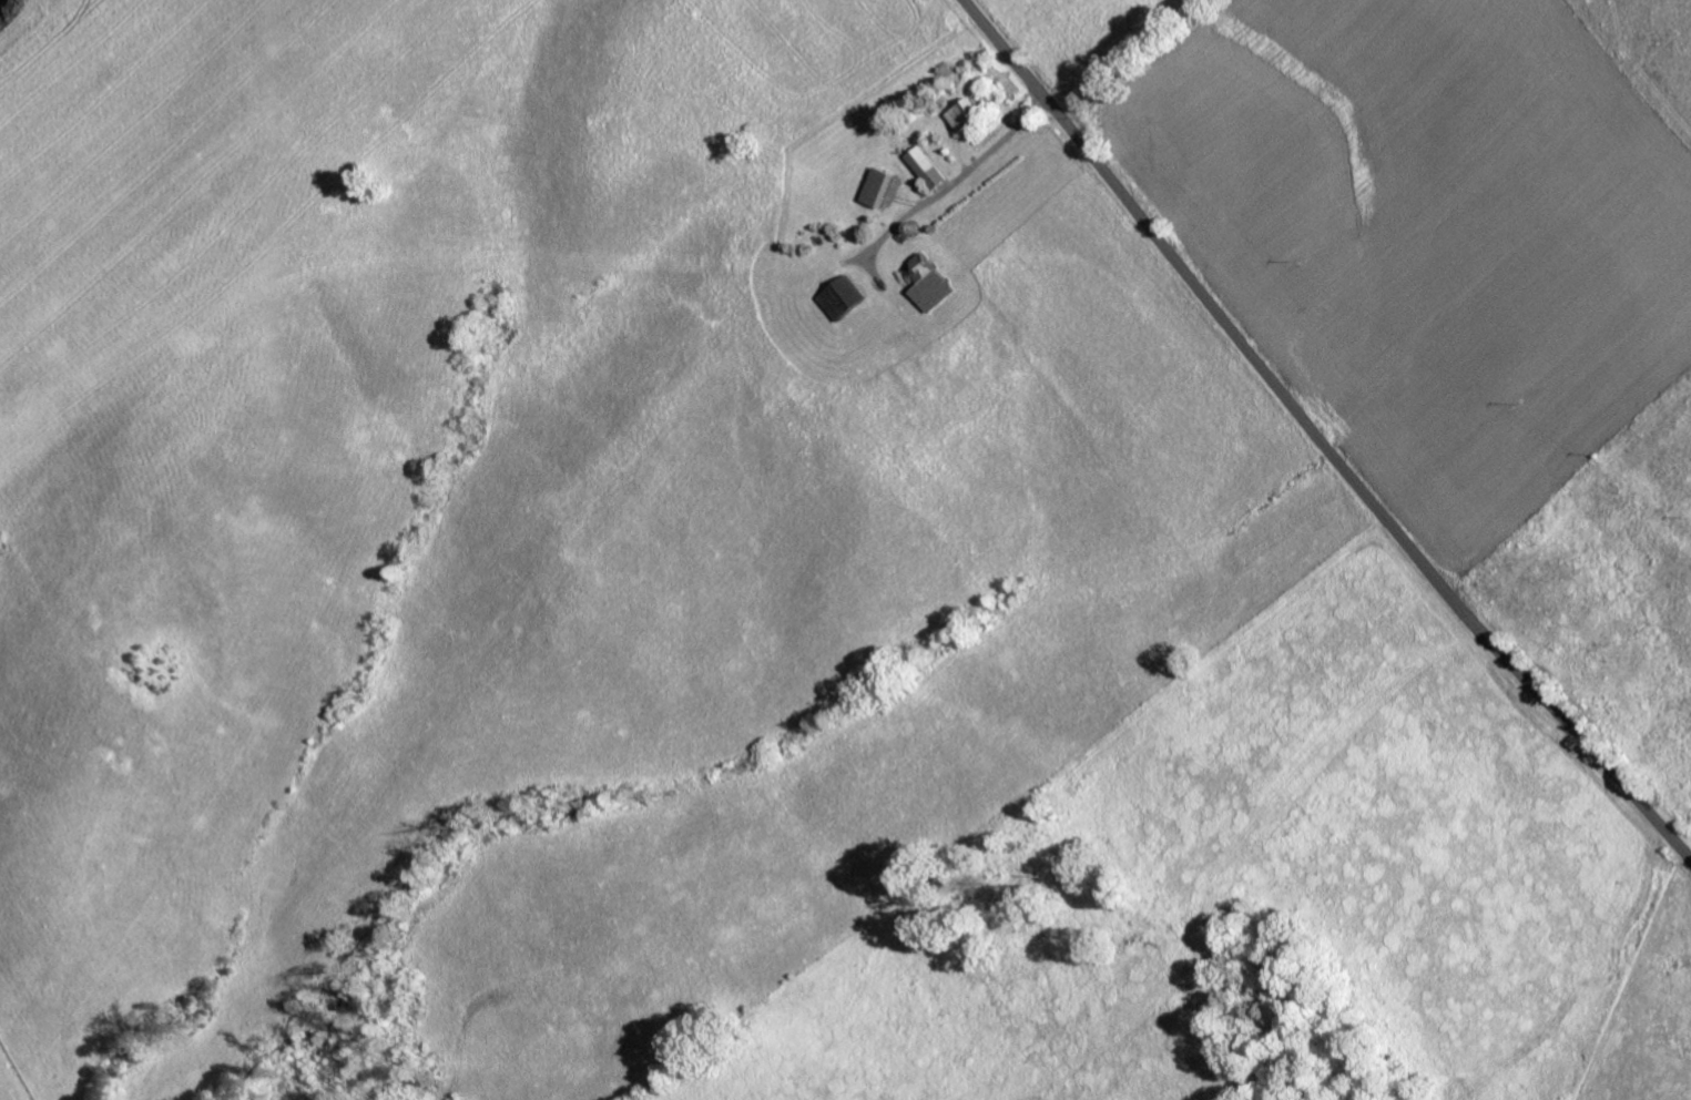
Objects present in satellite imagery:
building: (966, 114)
building: (927, 167)
building: (877, 187)
building: (933, 284)
building: (845, 298)
road: (1317, 437)

